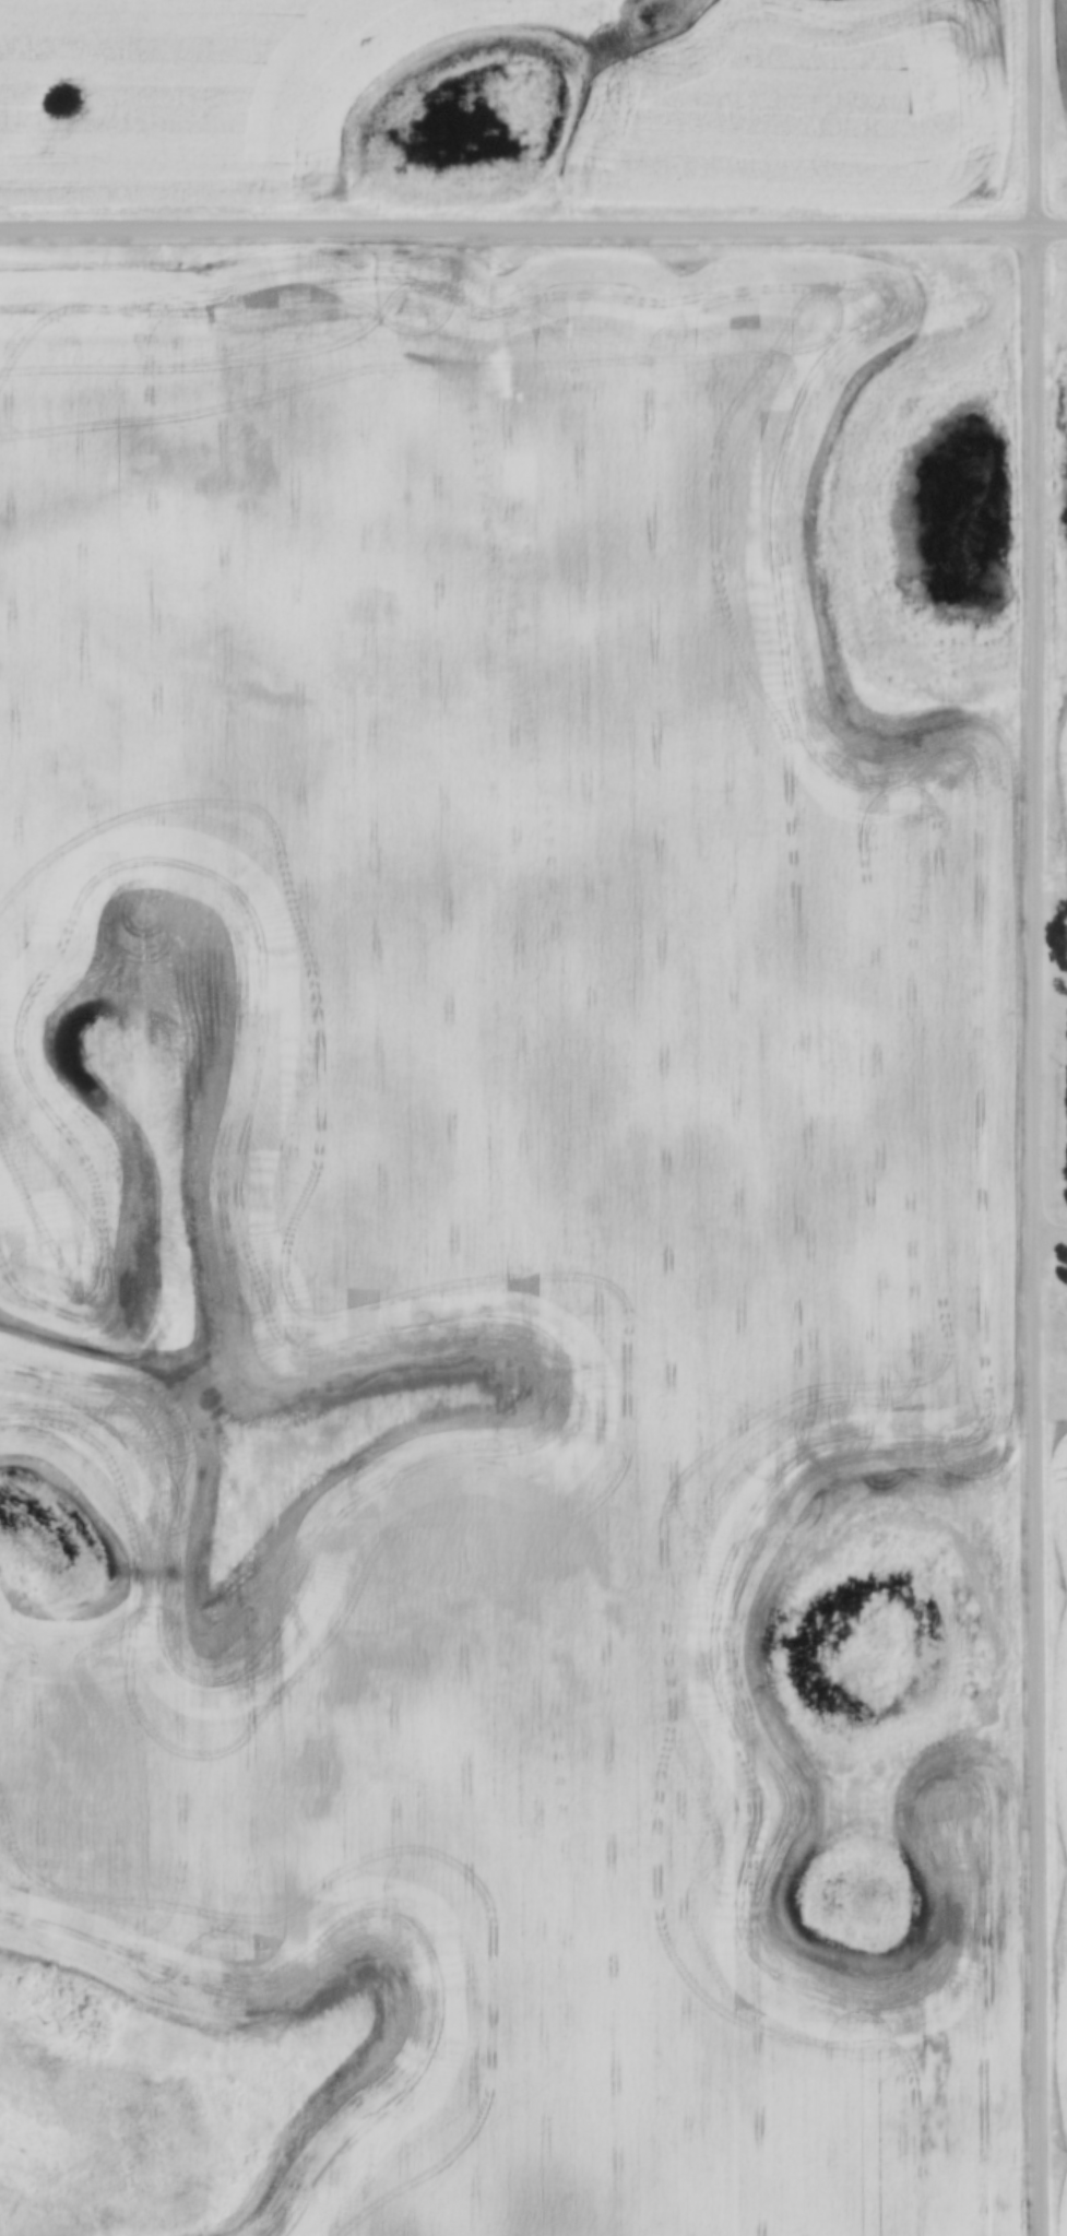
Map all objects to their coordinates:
road: (1053, 234)
road: (519, 235)
road: (1038, 1117)
road: (1052, 1233)

